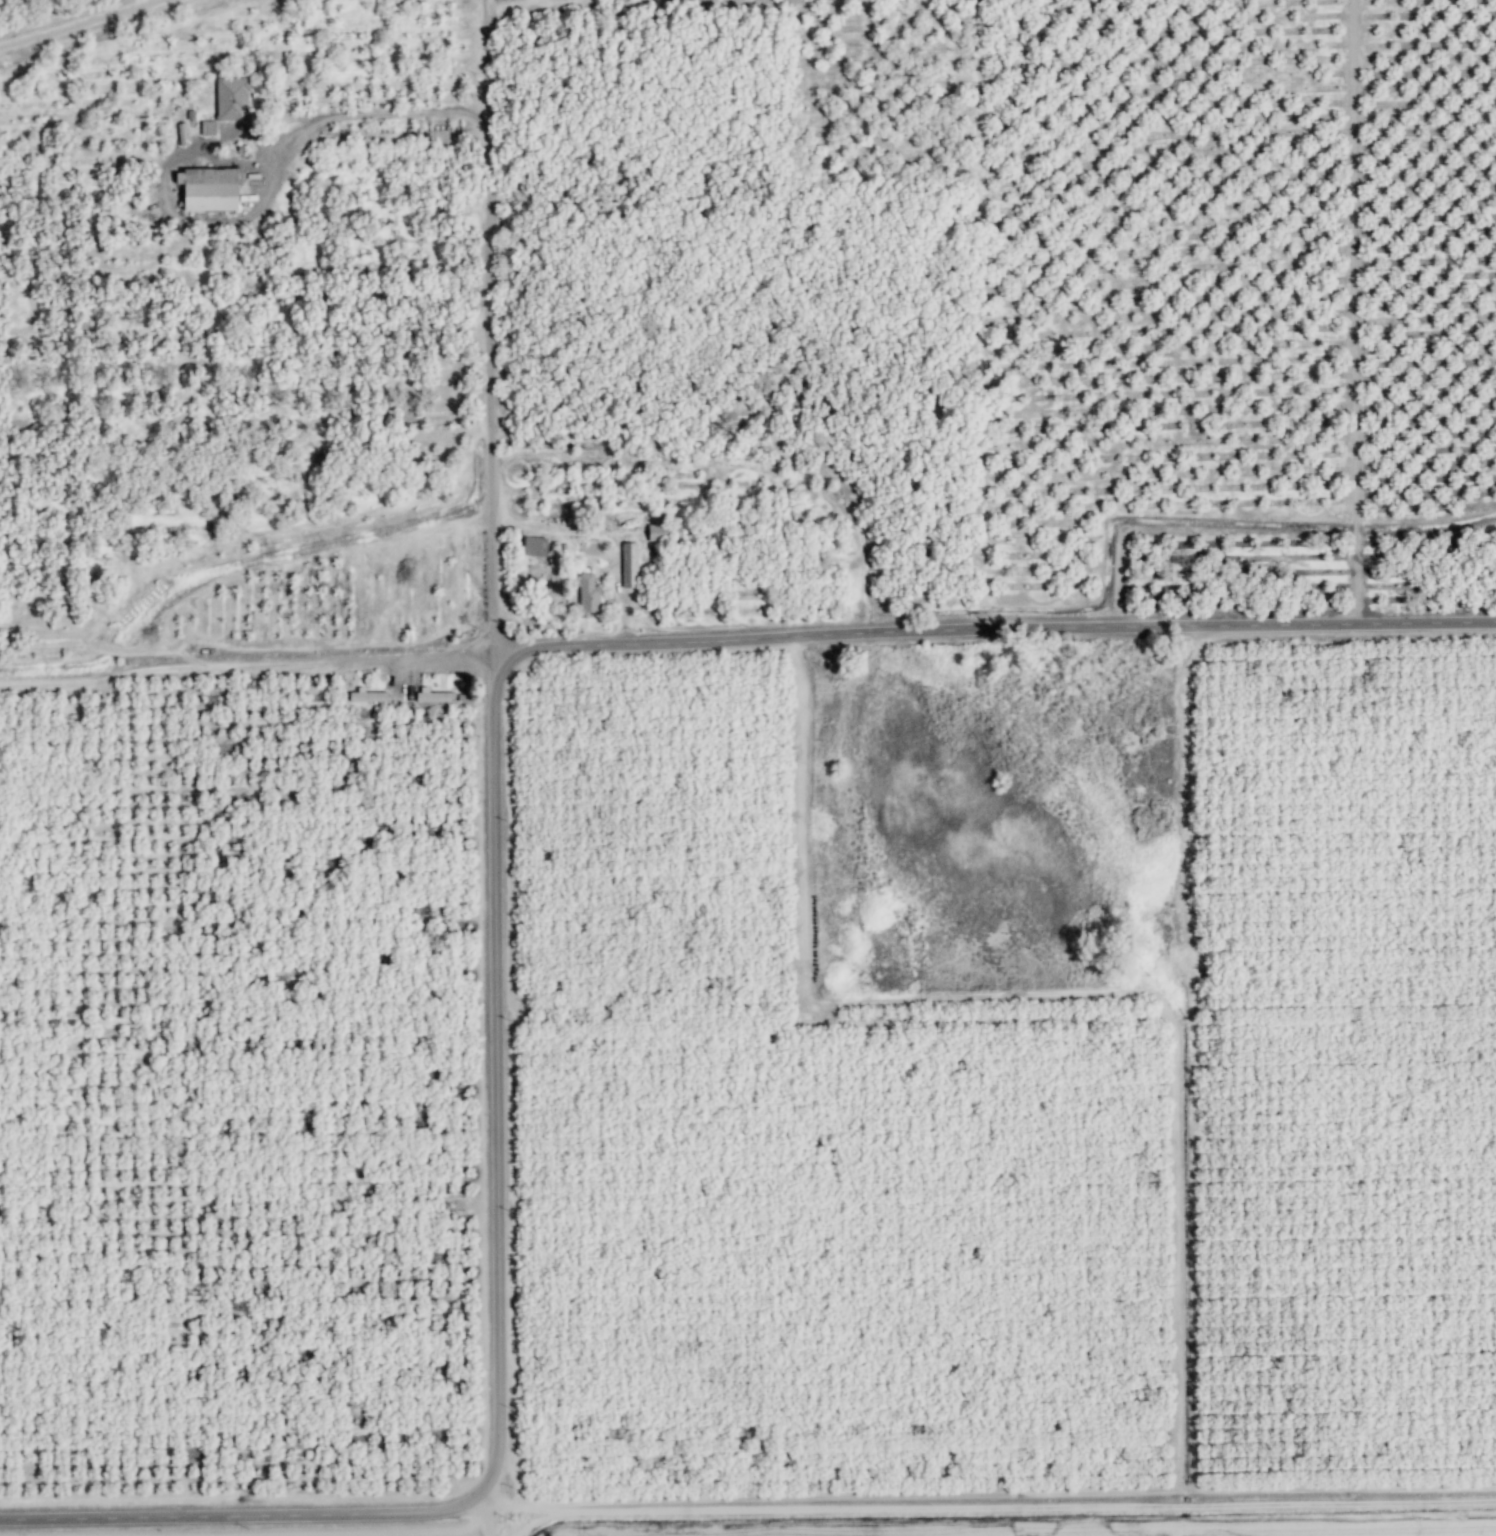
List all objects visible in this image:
road: (541, 4)
road: (84, 24)
road: (495, 68)
building: (232, 98)
road: (230, 158)
road: (494, 180)
building: (214, 190)
road: (1358, 311)
building: (663, 532)
building: (537, 546)
building: (630, 565)
building: (590, 594)
road: (993, 629)
road: (471, 647)
road: (300, 662)
building: (424, 697)
road: (488, 1086)
road: (239, 1507)
road: (486, 1519)

